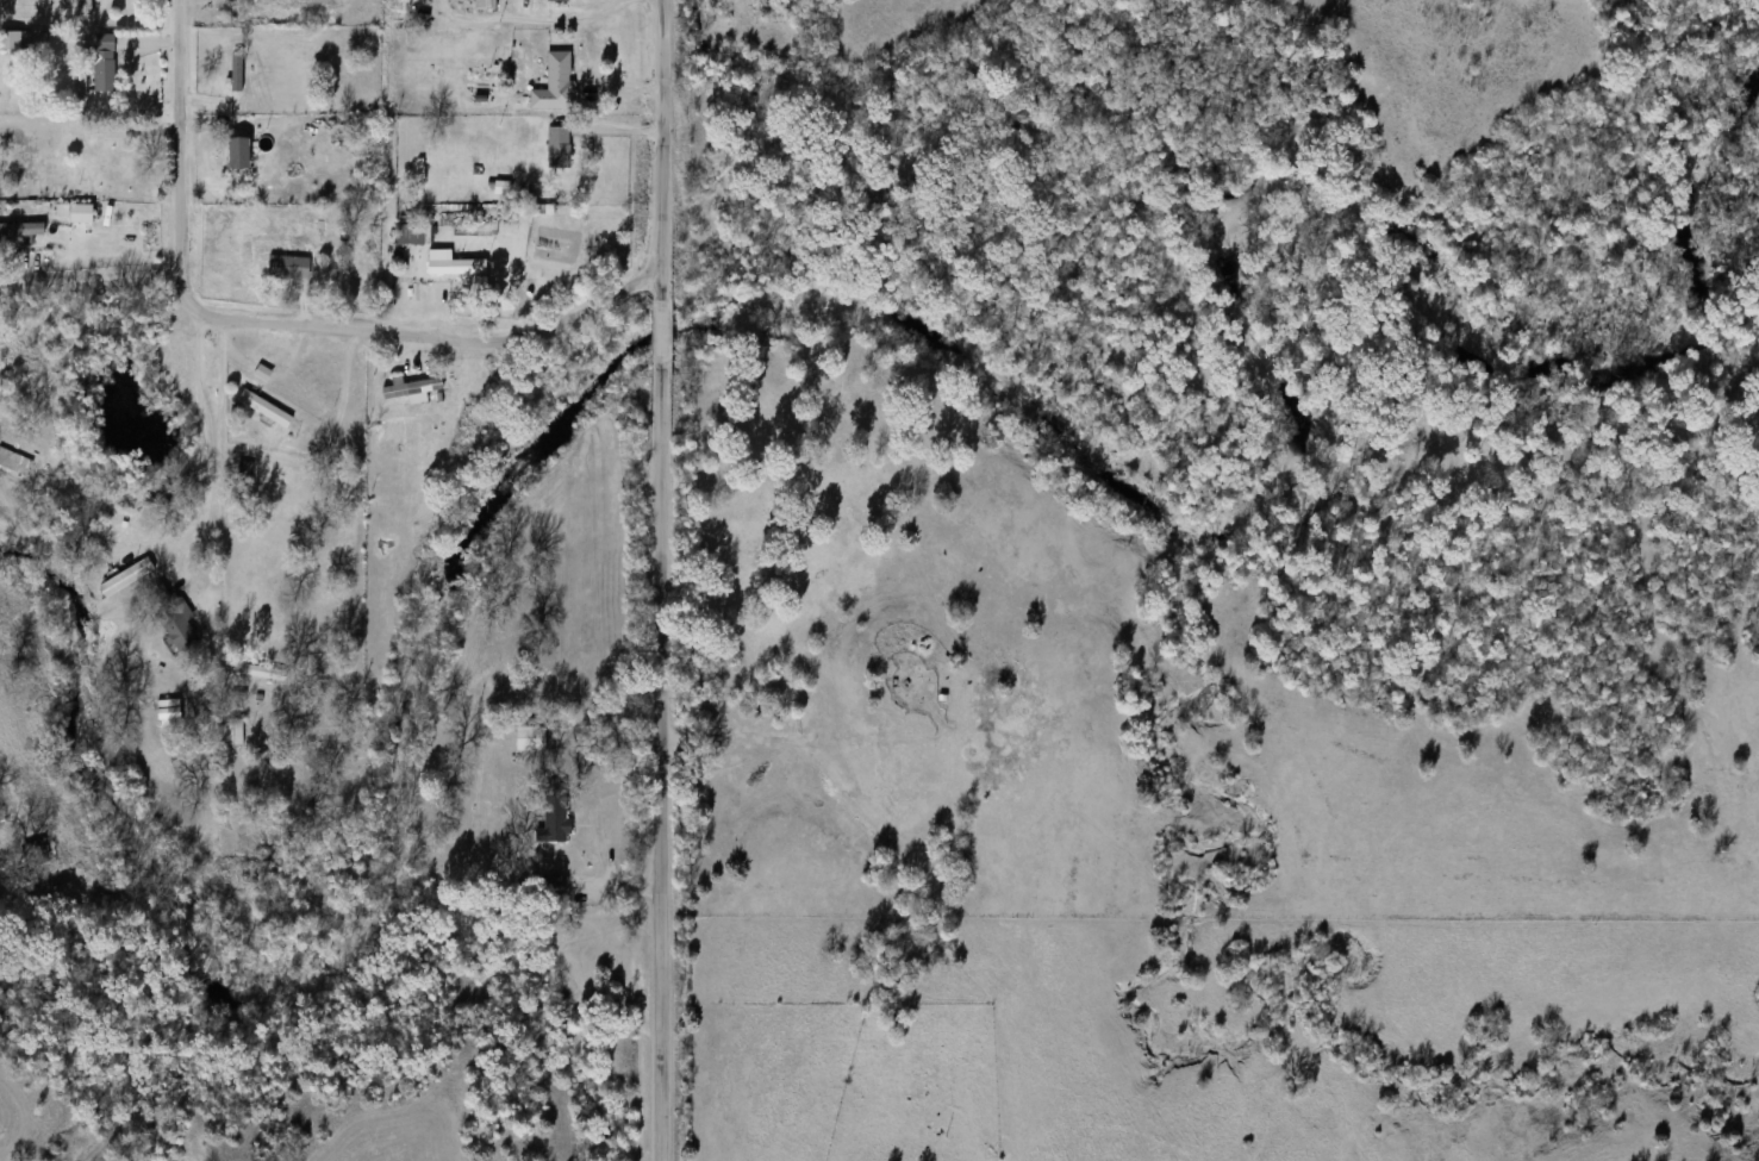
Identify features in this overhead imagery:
building: (559, 0)
building: (14, 42)
building: (105, 63)
building: (237, 71)
building: (556, 82)
building: (559, 146)
building: (238, 152)
building: (88, 168)
building: (411, 235)
building: (288, 267)
building: (457, 267)
road: (91, 277)
road: (280, 322)
building: (412, 388)
building: (266, 407)
building: (14, 462)
building: (244, 474)
road: (227, 494)
road: (189, 530)
road: (663, 580)
building: (264, 673)
building: (233, 732)
building: (531, 738)
building: (556, 812)
building: (554, 885)

